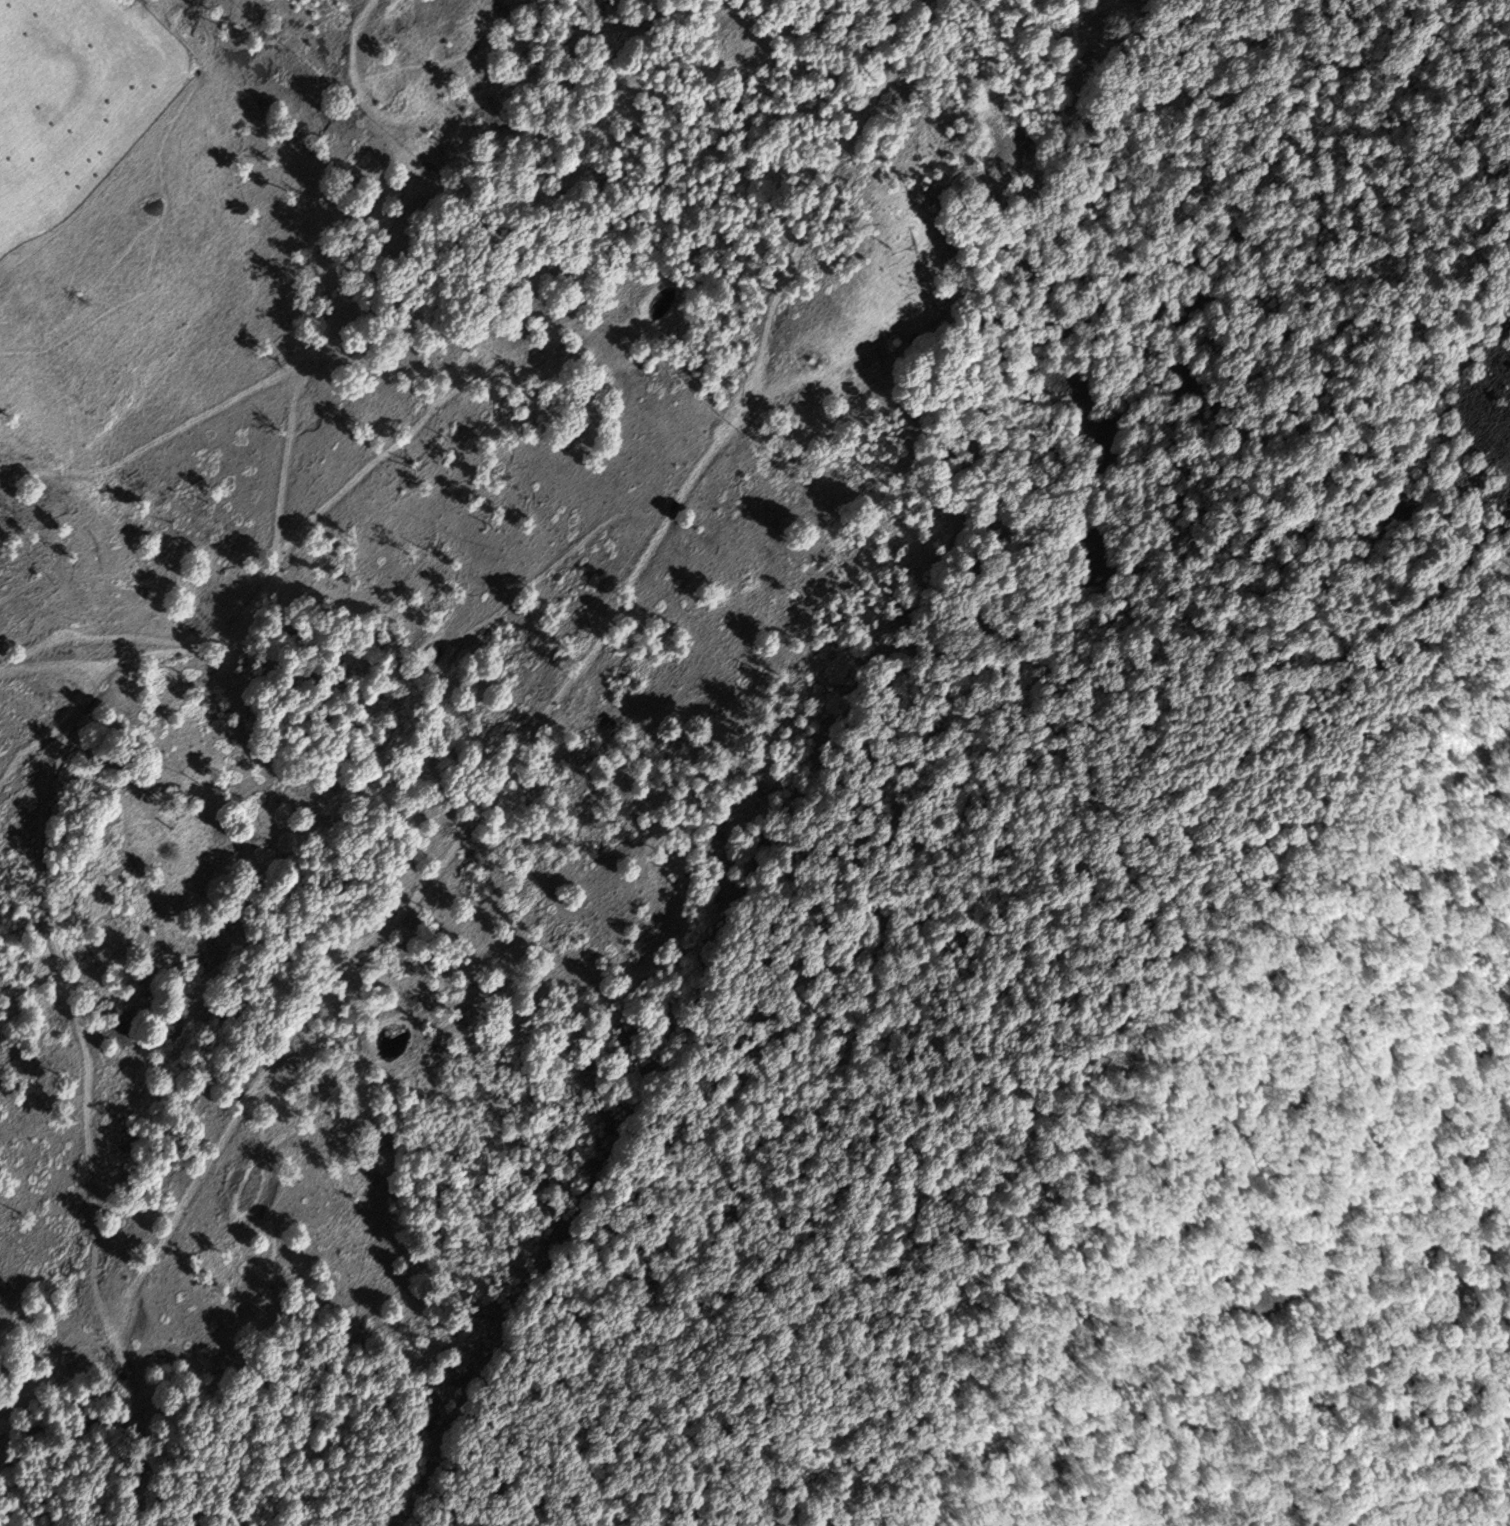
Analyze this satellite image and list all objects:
road: (1026, 1308)

